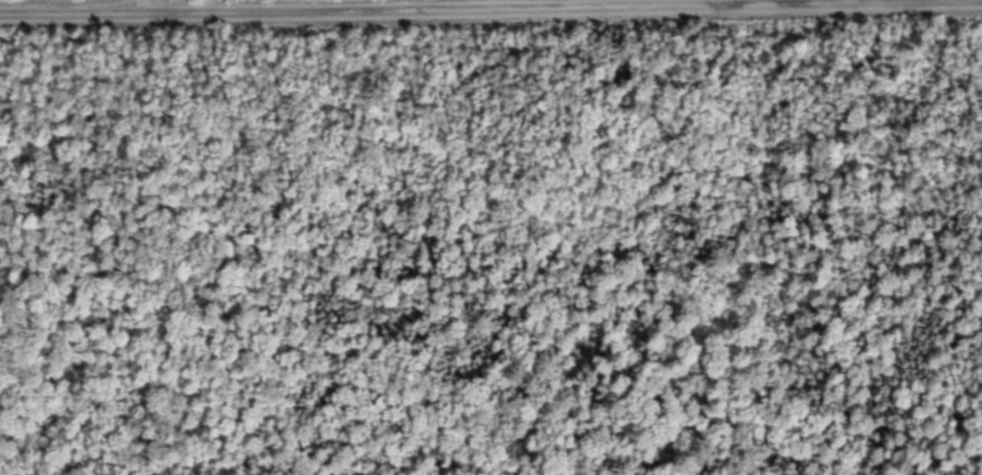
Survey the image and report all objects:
road: (449, 7)

